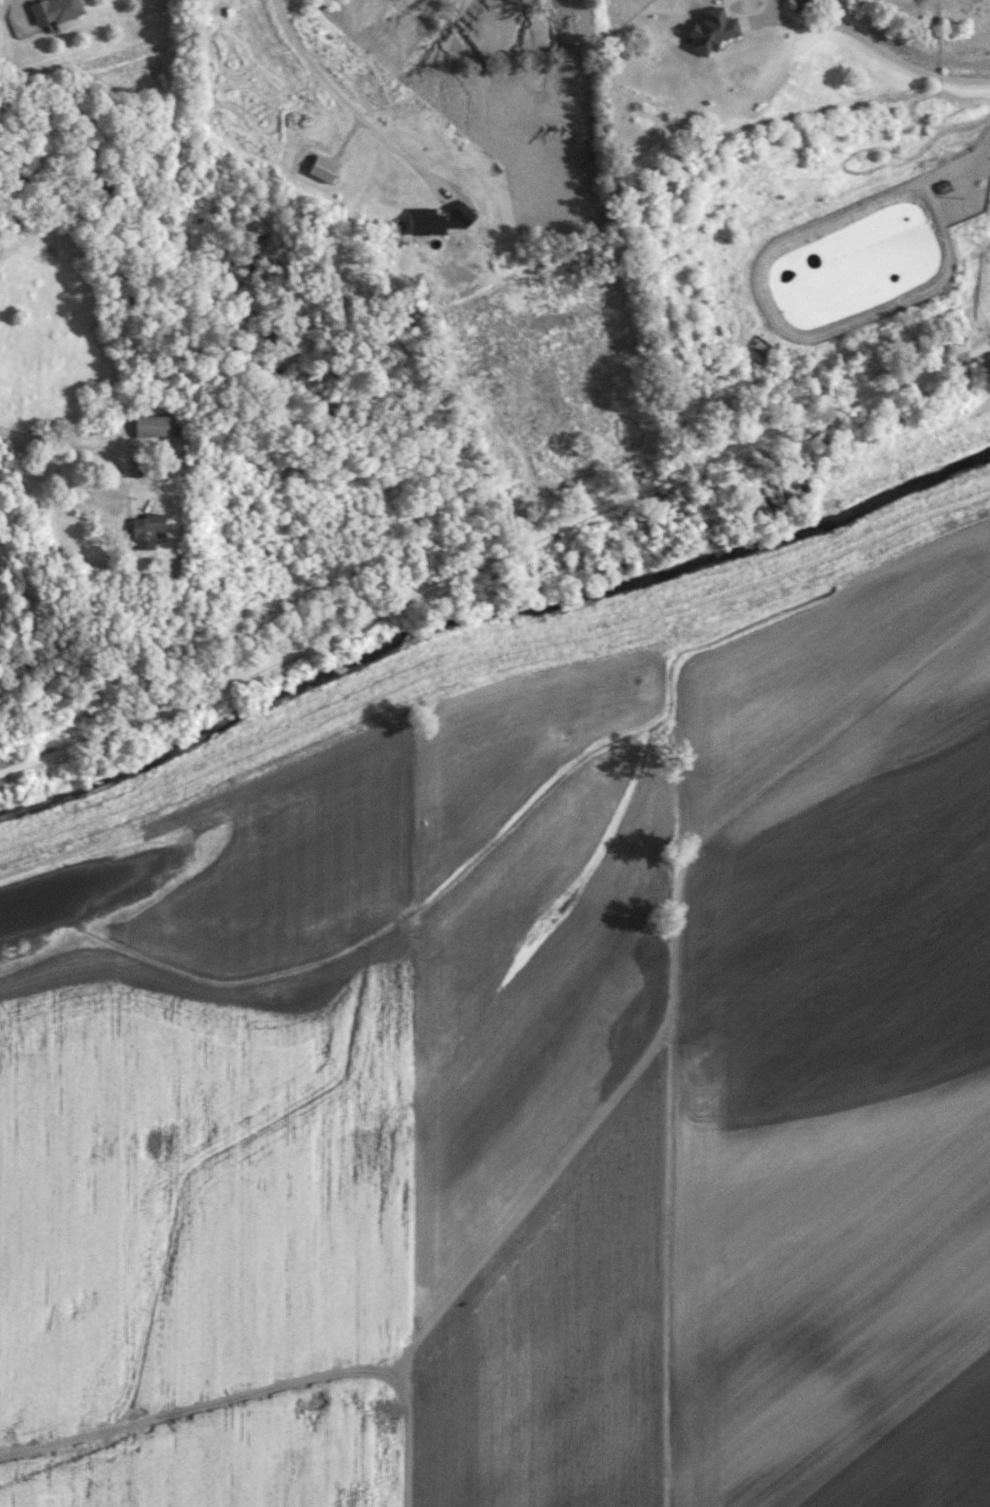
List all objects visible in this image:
building: (805, 5)
building: (54, 10)
road: (905, 68)
road: (343, 101)
road: (347, 132)
road: (977, 154)
building: (945, 186)
road: (988, 348)
building: (153, 425)
road: (8, 435)
building: (142, 466)
road: (118, 473)
building: (146, 530)
road: (494, 557)
road: (588, 1131)

